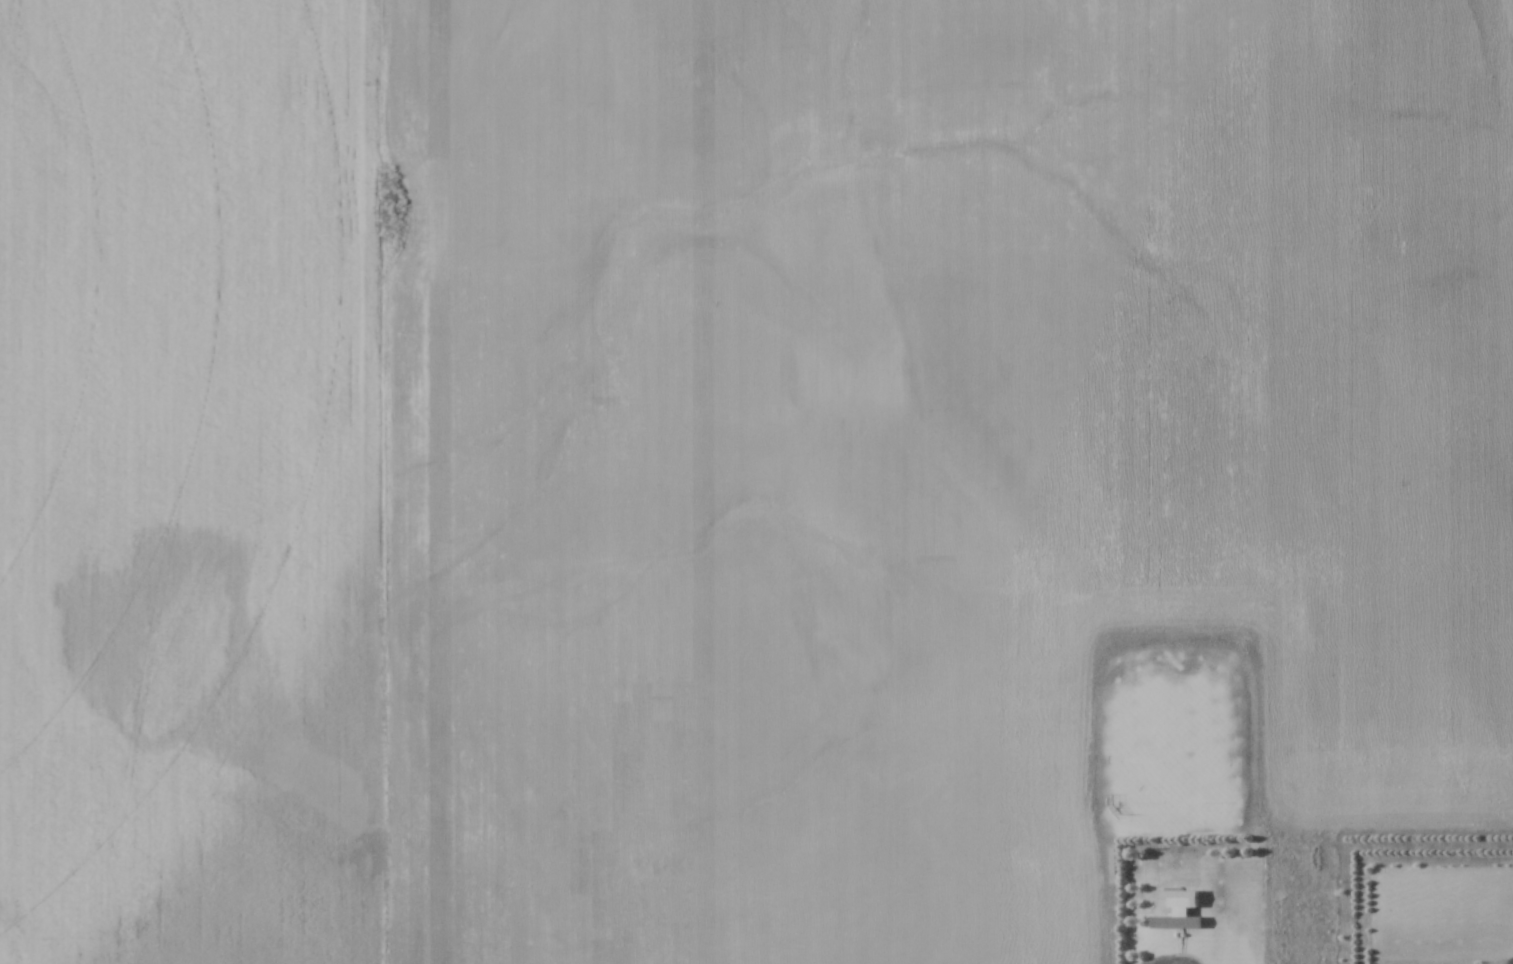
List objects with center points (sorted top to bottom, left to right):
building: (1181, 923)

